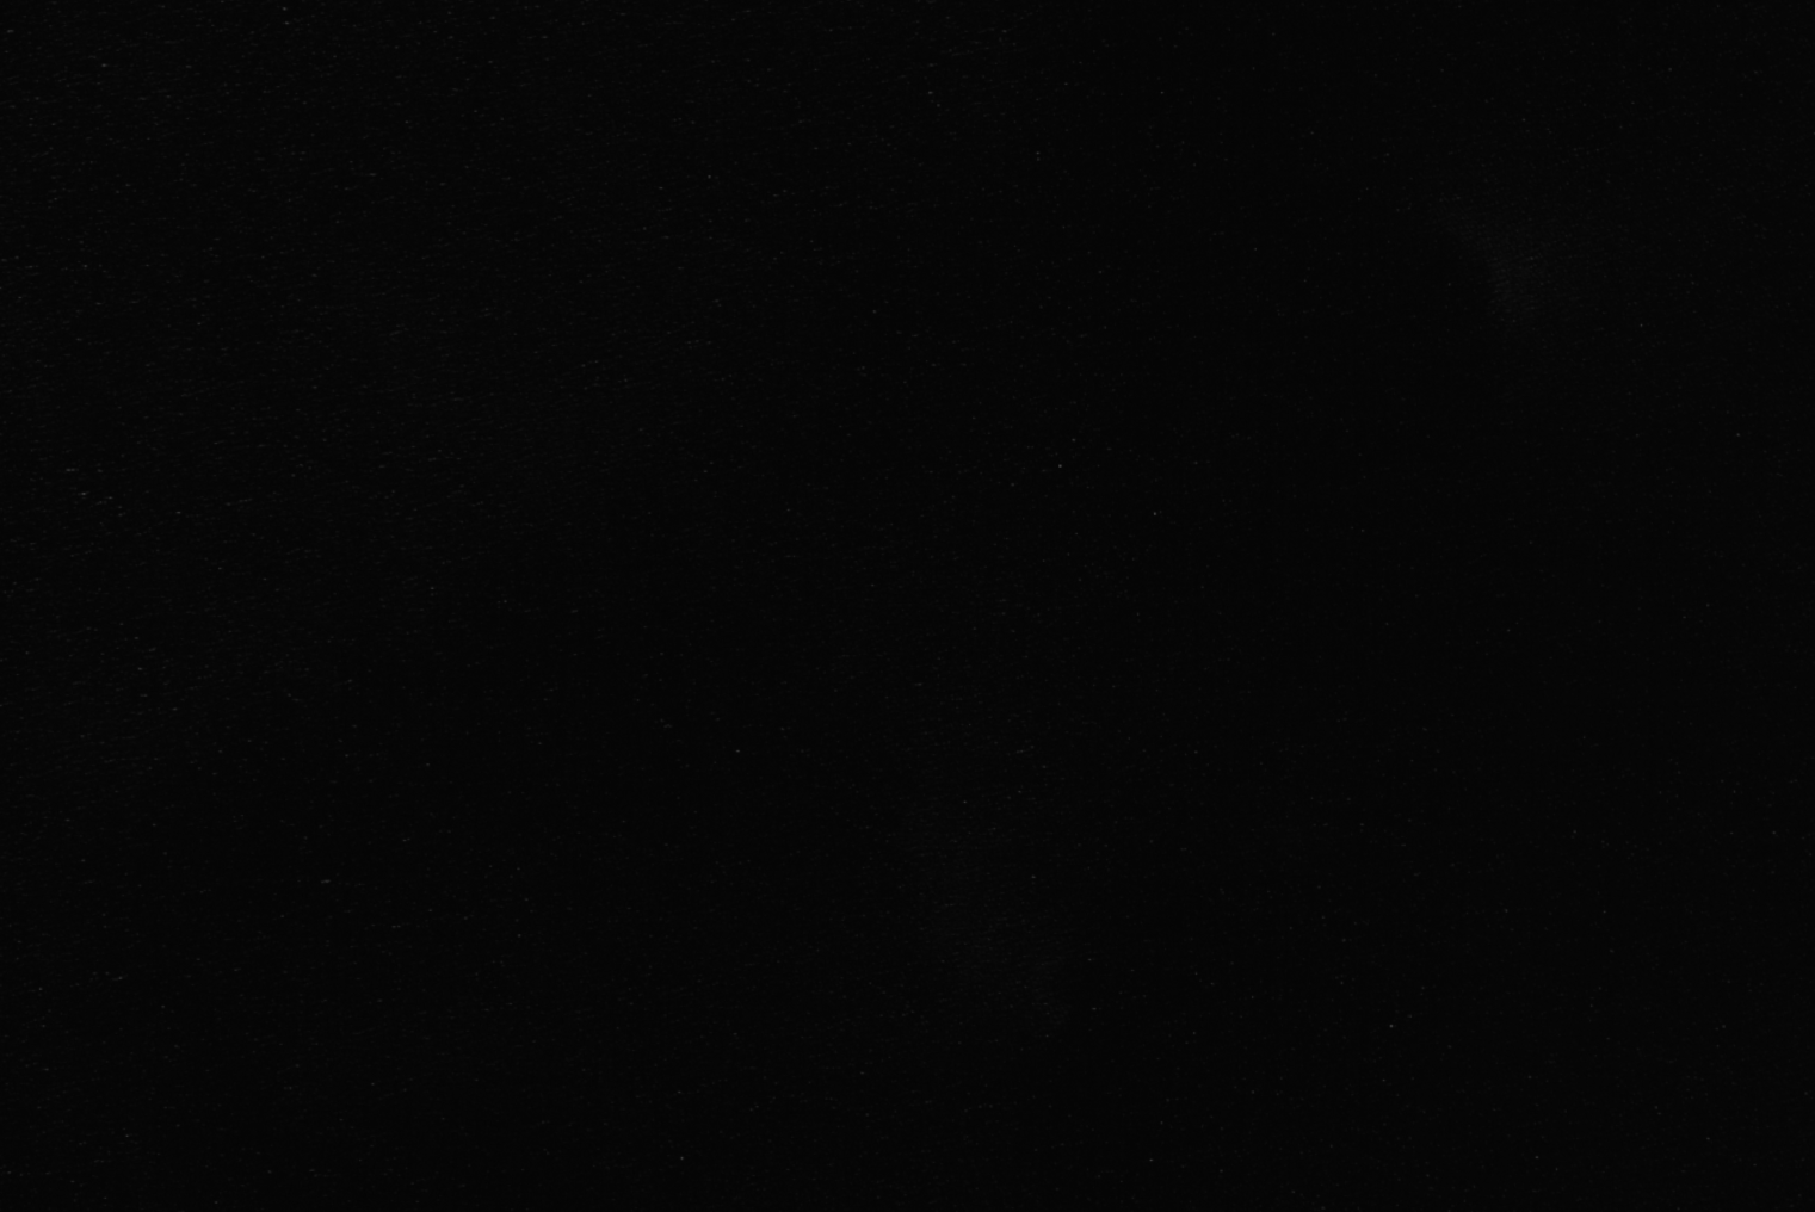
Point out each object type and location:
river: (1652, 99)

